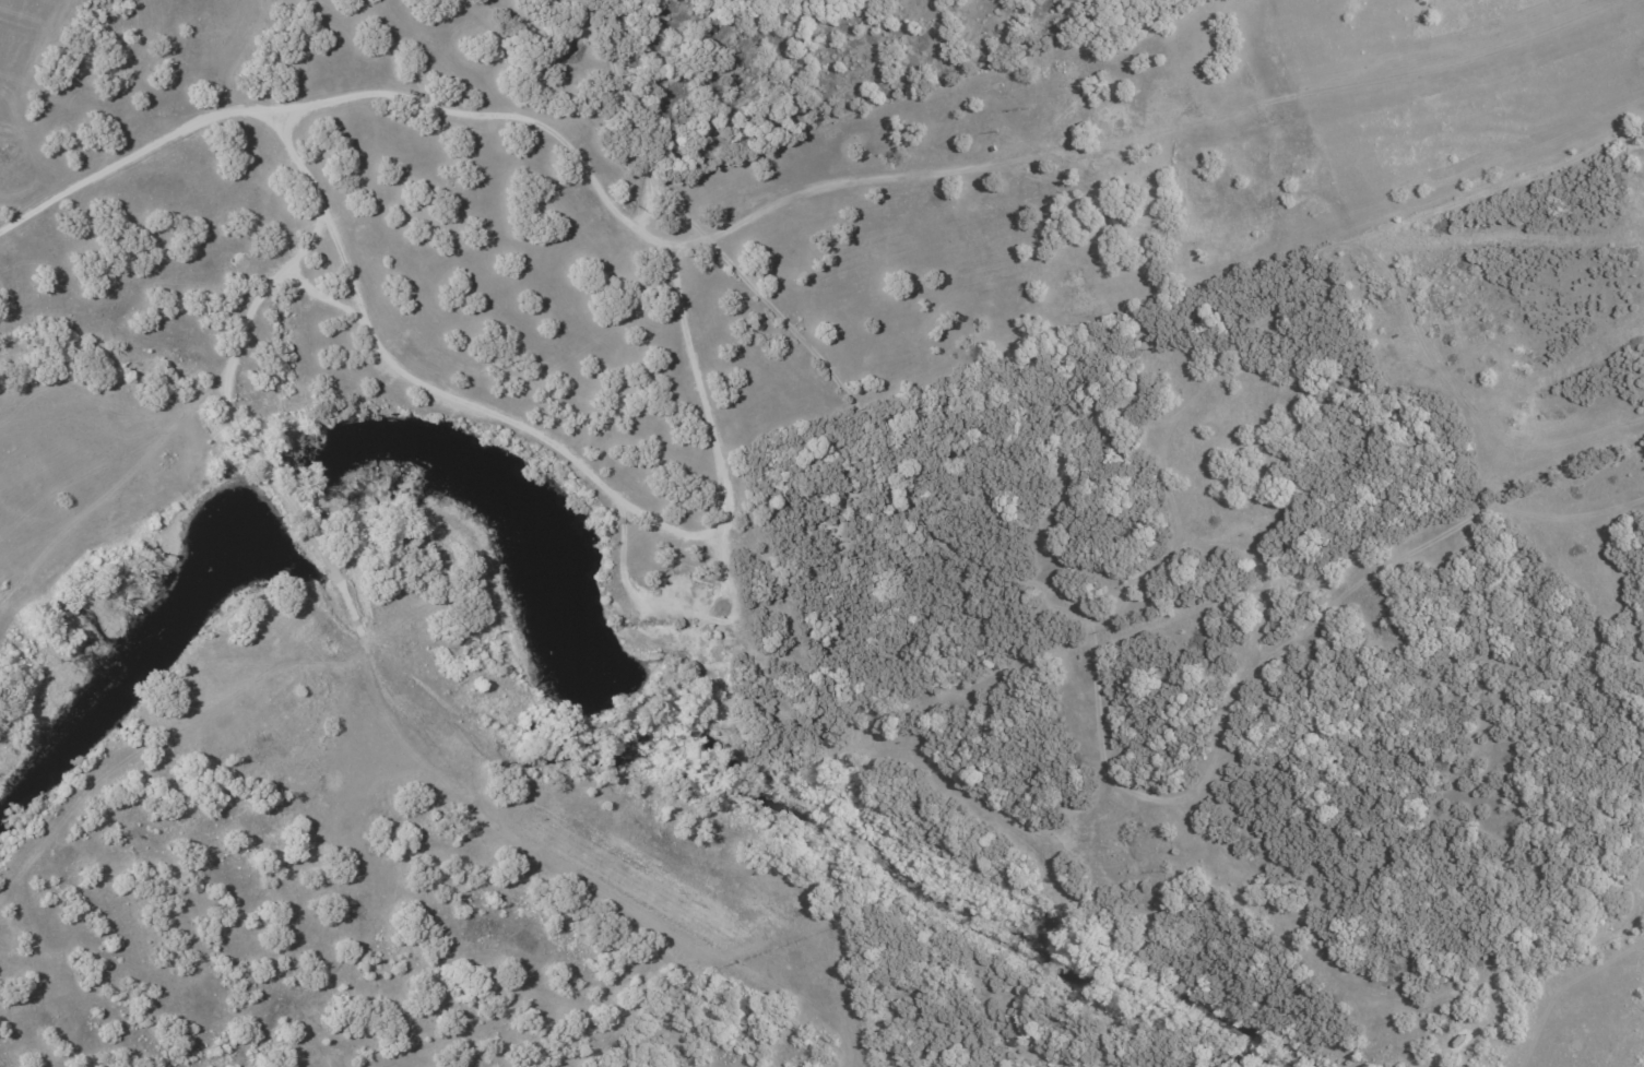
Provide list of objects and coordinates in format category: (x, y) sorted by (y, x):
road: (143, 154)
road: (825, 185)
road: (329, 298)
road: (722, 496)
road: (286, 499)

